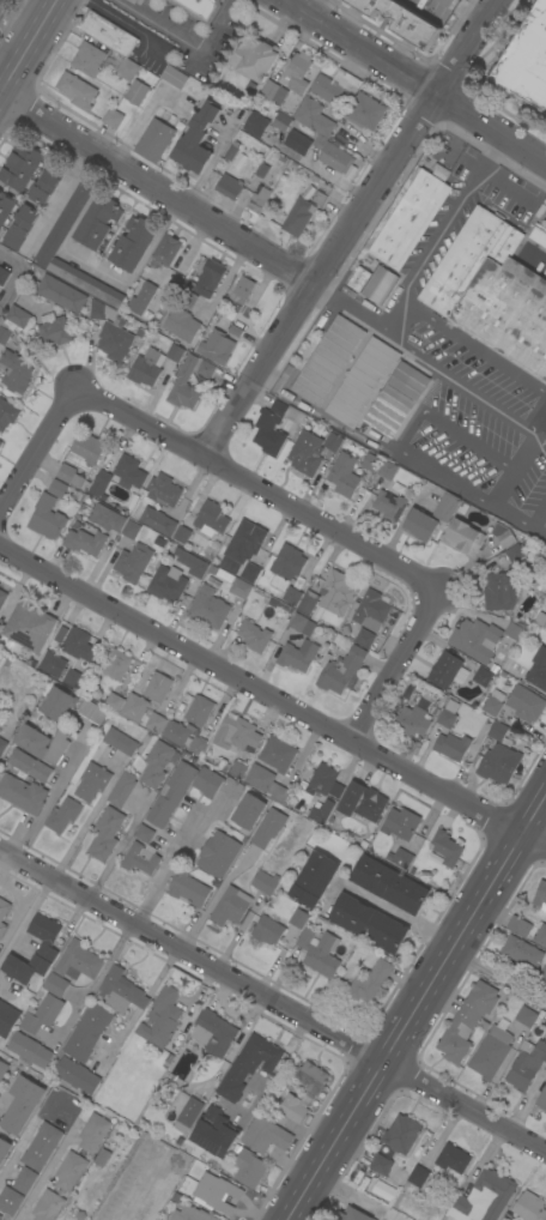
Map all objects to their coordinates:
building: (133, 1)
building: (199, 8)
road: (314, 8)
road: (465, 12)
building: (402, 20)
building: (109, 34)
road: (12, 35)
road: (26, 41)
road: (183, 43)
road: (466, 48)
building: (255, 58)
building: (89, 59)
building: (526, 60)
building: (127, 70)
building: (298, 72)
building: (175, 78)
road: (413, 81)
building: (335, 85)
building: (77, 91)
building: (274, 91)
building: (136, 92)
building: (366, 111)
building: (113, 117)
building: (283, 121)
building: (255, 123)
building: (323, 135)
building: (339, 139)
building: (154, 140)
building: (196, 140)
building: (298, 143)
building: (230, 152)
building: (22, 165)
building: (261, 170)
road: (320, 171)
building: (47, 182)
road: (157, 183)
building: (229, 187)
building: (257, 200)
building: (6, 207)
building: (298, 217)
building: (411, 219)
building: (98, 222)
building: (65, 223)
building: (20, 227)
road: (442, 227)
building: (539, 236)
building: (134, 243)
building: (165, 250)
building: (4, 276)
road: (18, 276)
road: (318, 277)
building: (208, 278)
building: (358, 278)
building: (380, 285)
building: (242, 290)
building: (492, 291)
building: (61, 294)
building: (141, 298)
building: (188, 298)
building: (98, 310)
road: (356, 313)
building: (12, 322)
building: (182, 324)
building: (54, 330)
building: (235, 331)
building: (114, 342)
building: (217, 346)
road: (483, 354)
building: (328, 360)
building: (153, 364)
building: (206, 369)
building: (16, 372)
building: (362, 381)
building: (186, 385)
road: (466, 391)
building: (394, 400)
building: (7, 413)
building: (275, 427)
road: (541, 430)
road: (541, 440)
building: (333, 441)
building: (0, 442)
road: (36, 449)
building: (85, 452)
building: (307, 453)
road: (405, 453)
building: (371, 463)
building: (386, 470)
road: (515, 471)
building: (129, 472)
building: (345, 475)
building: (69, 476)
building: (101, 483)
building: (57, 488)
road: (255, 489)
building: (164, 490)
building: (389, 506)
building: (447, 507)
road: (538, 514)
building: (48, 518)
building: (107, 518)
building: (211, 519)
building: (158, 521)
building: (420, 525)
building: (131, 530)
building: (182, 534)
building: (503, 536)
building: (465, 537)
building: (85, 542)
building: (158, 542)
building: (245, 542)
building: (515, 552)
building: (192, 562)
building: (133, 563)
building: (229, 564)
building: (286, 566)
building: (250, 572)
building: (168, 582)
building: (232, 582)
building: (336, 592)
building: (499, 592)
building: (292, 596)
building: (2, 598)
building: (308, 603)
building: (210, 608)
building: (371, 610)
building: (540, 618)
building: (302, 624)
building: (30, 627)
building: (0, 629)
building: (514, 630)
building: (254, 636)
building: (364, 639)
building: (475, 639)
building: (545, 639)
building: (79, 645)
building: (297, 656)
building: (497, 660)
building: (116, 665)
road: (393, 666)
building: (514, 668)
building: (340, 669)
building: (493, 669)
building: (60, 670)
building: (538, 670)
building: (448, 671)
building: (483, 676)
building: (158, 688)
road: (271, 697)
building: (114, 702)
building: (493, 702)
building: (57, 703)
building: (526, 703)
building: (135, 707)
building: (199, 709)
building: (92, 712)
building: (448, 714)
building: (412, 721)
building: (156, 723)
building: (481, 731)
building: (498, 731)
building: (177, 732)
building: (239, 736)
building: (4, 741)
building: (120, 742)
building: (42, 743)
building: (196, 745)
building: (453, 747)
building: (277, 754)
building: (499, 763)
building: (157, 765)
building: (31, 766)
building: (237, 769)
building: (324, 781)
building: (92, 783)
building: (207, 783)
building: (266, 783)
building: (232, 787)
building: (122, 789)
building: (171, 793)
building: (23, 795)
building: (363, 802)
road: (47, 803)
building: (321, 811)
building: (248, 813)
building: (63, 815)
building: (401, 823)
building: (268, 827)
building: (107, 834)
building: (363, 844)
road: (119, 845)
building: (447, 847)
building: (141, 852)
building: (219, 853)
building: (400, 858)
building: (435, 858)
road: (165, 870)
building: (411, 870)
building: (315, 880)
building: (266, 882)
building: (390, 884)
building: (188, 888)
building: (541, 896)
building: (231, 906)
road: (205, 911)
road: (398, 911)
building: (2, 914)
building: (298, 918)
road: (23, 923)
building: (369, 923)
building: (520, 926)
building: (268, 930)
building: (540, 936)
building: (45, 949)
building: (320, 952)
building: (523, 953)
building: (78, 961)
building: (542, 977)
road: (498, 978)
building: (370, 980)
road: (92, 984)
building: (56, 985)
building: (122, 992)
road: (272, 1004)
road: (415, 1007)
building: (42, 1014)
building: (528, 1014)
building: (162, 1017)
building: (7, 1019)
building: (467, 1021)
building: (87, 1032)
building: (213, 1033)
building: (29, 1051)
building: (260, 1052)
building: (491, 1052)
road: (223, 1063)
building: (527, 1064)
building: (2, 1069)
building: (77, 1075)
building: (311, 1093)
road: (5, 1097)
building: (254, 1099)
building: (541, 1100)
building: (22, 1104)
road: (527, 1104)
building: (188, 1115)
building: (93, 1133)
building: (214, 1133)
building: (401, 1134)
building: (266, 1135)
building: (42, 1147)
building: (4, 1149)
building: (103, 1158)
building: (453, 1159)
building: (381, 1165)
building: (249, 1168)
road: (5, 1170)
building: (71, 1171)
road: (45, 1172)
building: (418, 1176)
building: (25, 1180)
building: (218, 1192)
road: (359, 1195)
building: (175, 1197)
building: (483, 1198)
building: (10, 1202)
building: (48, 1206)
building: (529, 1207)
building: (190, 1214)
building: (353, 1214)

